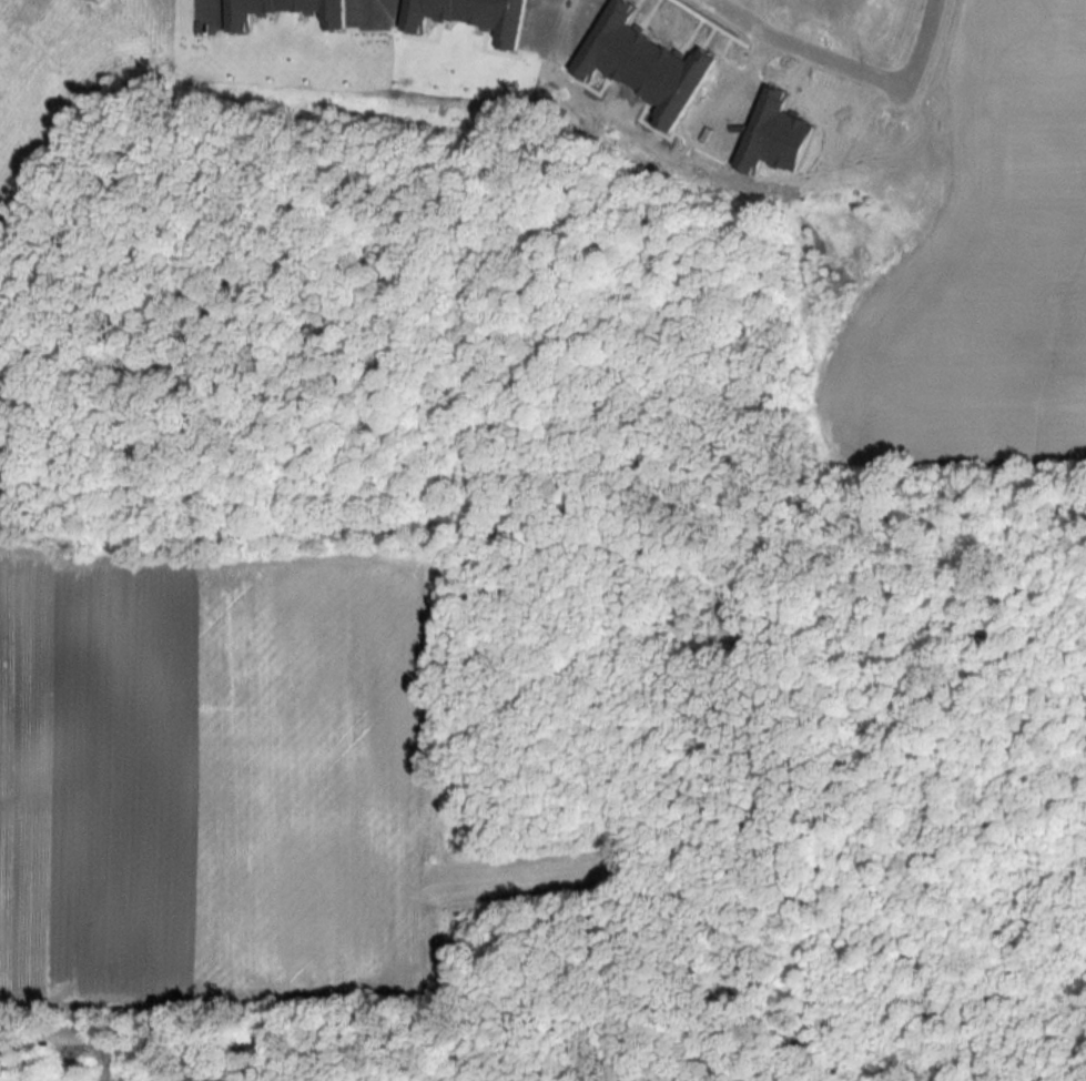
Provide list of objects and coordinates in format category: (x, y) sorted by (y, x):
road: (371, 2)
road: (200, 7)
road: (561, 18)
road: (811, 44)
road: (911, 53)
road: (749, 77)
crop: (982, 271)
crop: (209, 772)

